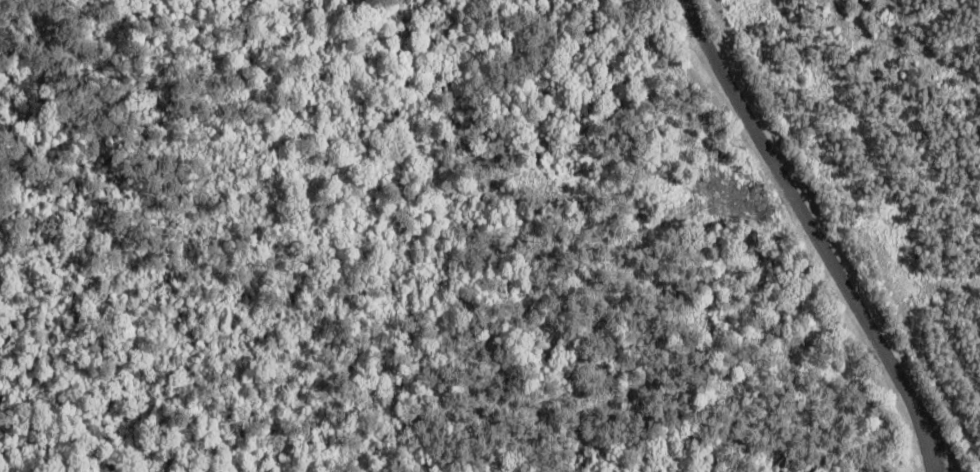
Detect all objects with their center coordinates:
road: (817, 237)
road: (929, 454)

